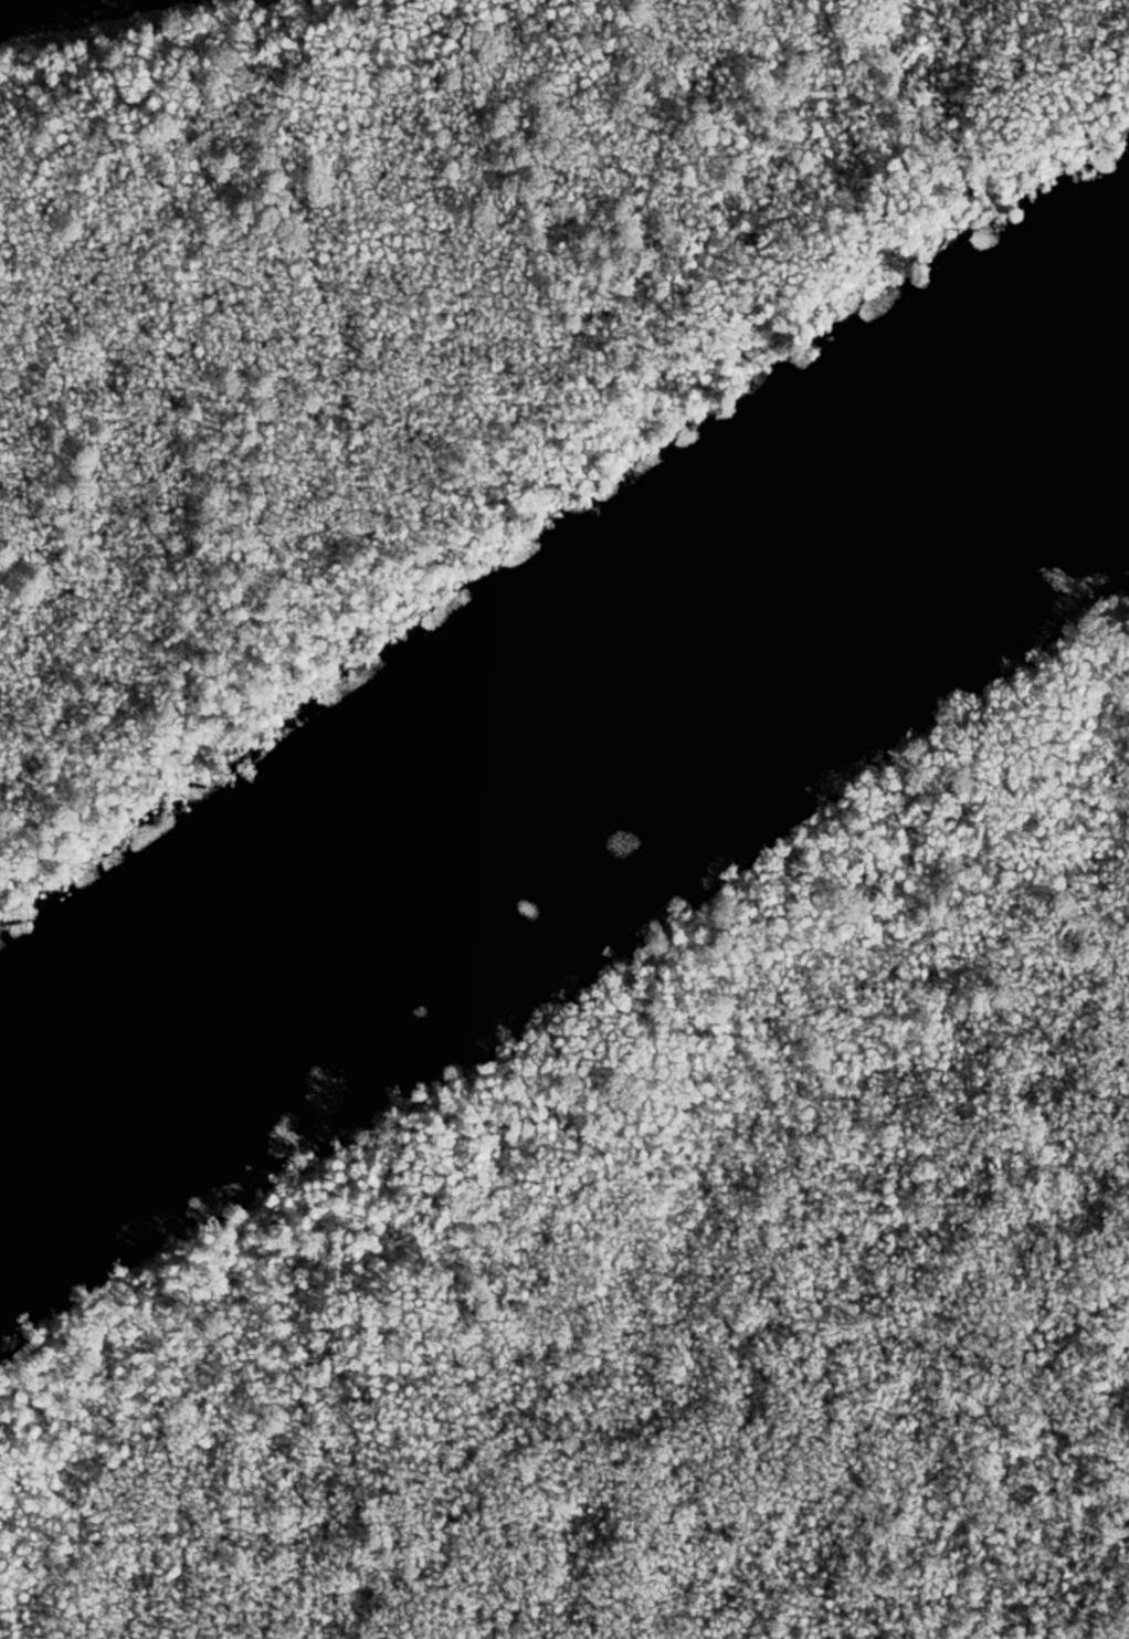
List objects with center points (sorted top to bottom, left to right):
river: (563, 737)

